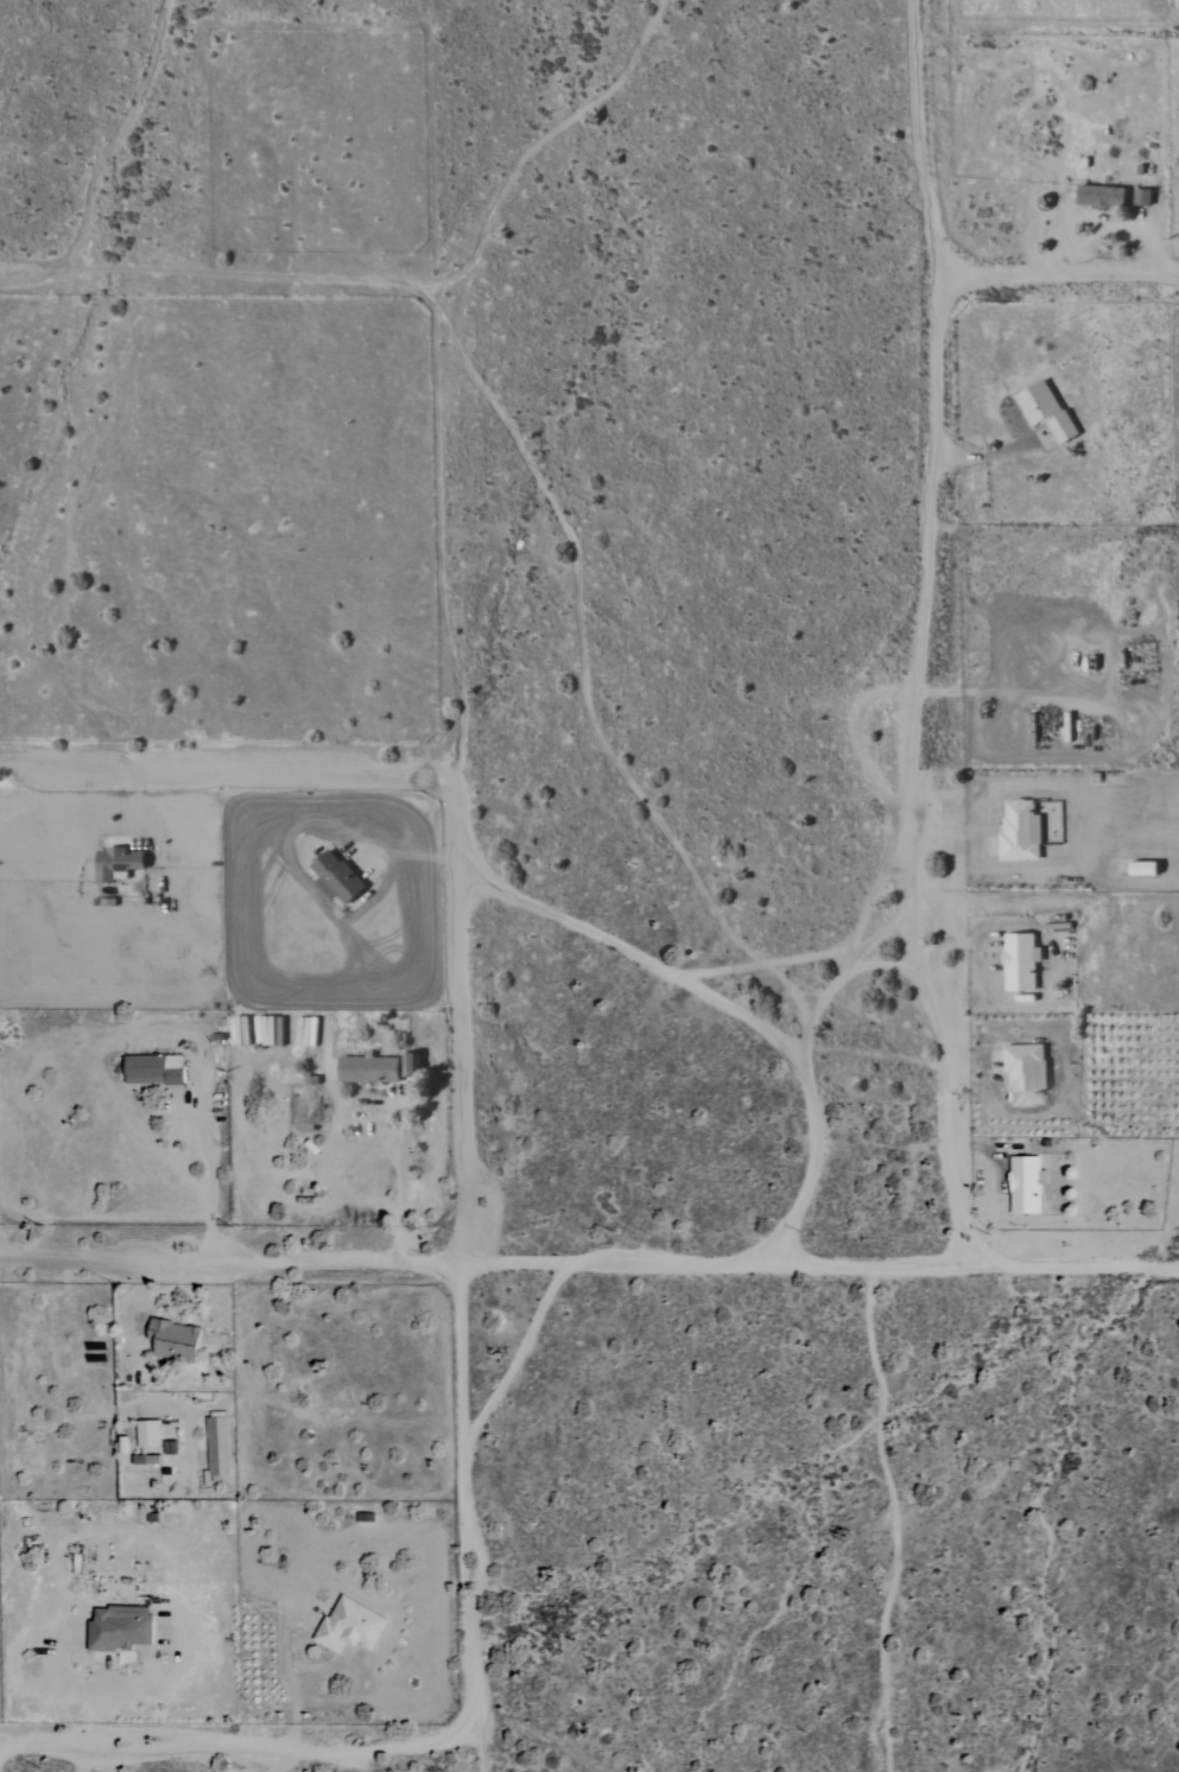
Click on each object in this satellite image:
building: (1097, 196)
building: (1140, 198)
road: (36, 273)
road: (1054, 281)
building: (1042, 411)
road: (920, 635)
road: (223, 777)
building: (1032, 830)
building: (122, 863)
building: (340, 878)
building: (1023, 961)
road: (803, 1047)
building: (382, 1068)
building: (159, 1069)
building: (1031, 1073)
building: (430, 1119)
building: (1028, 1184)
road: (211, 1193)
road: (401, 1194)
road: (463, 1253)
road: (589, 1264)
building: (179, 1340)
building: (153, 1434)
building: (221, 1446)
road: (157, 1596)
building: (355, 1626)
building: (122, 1632)
road: (293, 1687)
road: (237, 1749)
road: (365, 1764)

